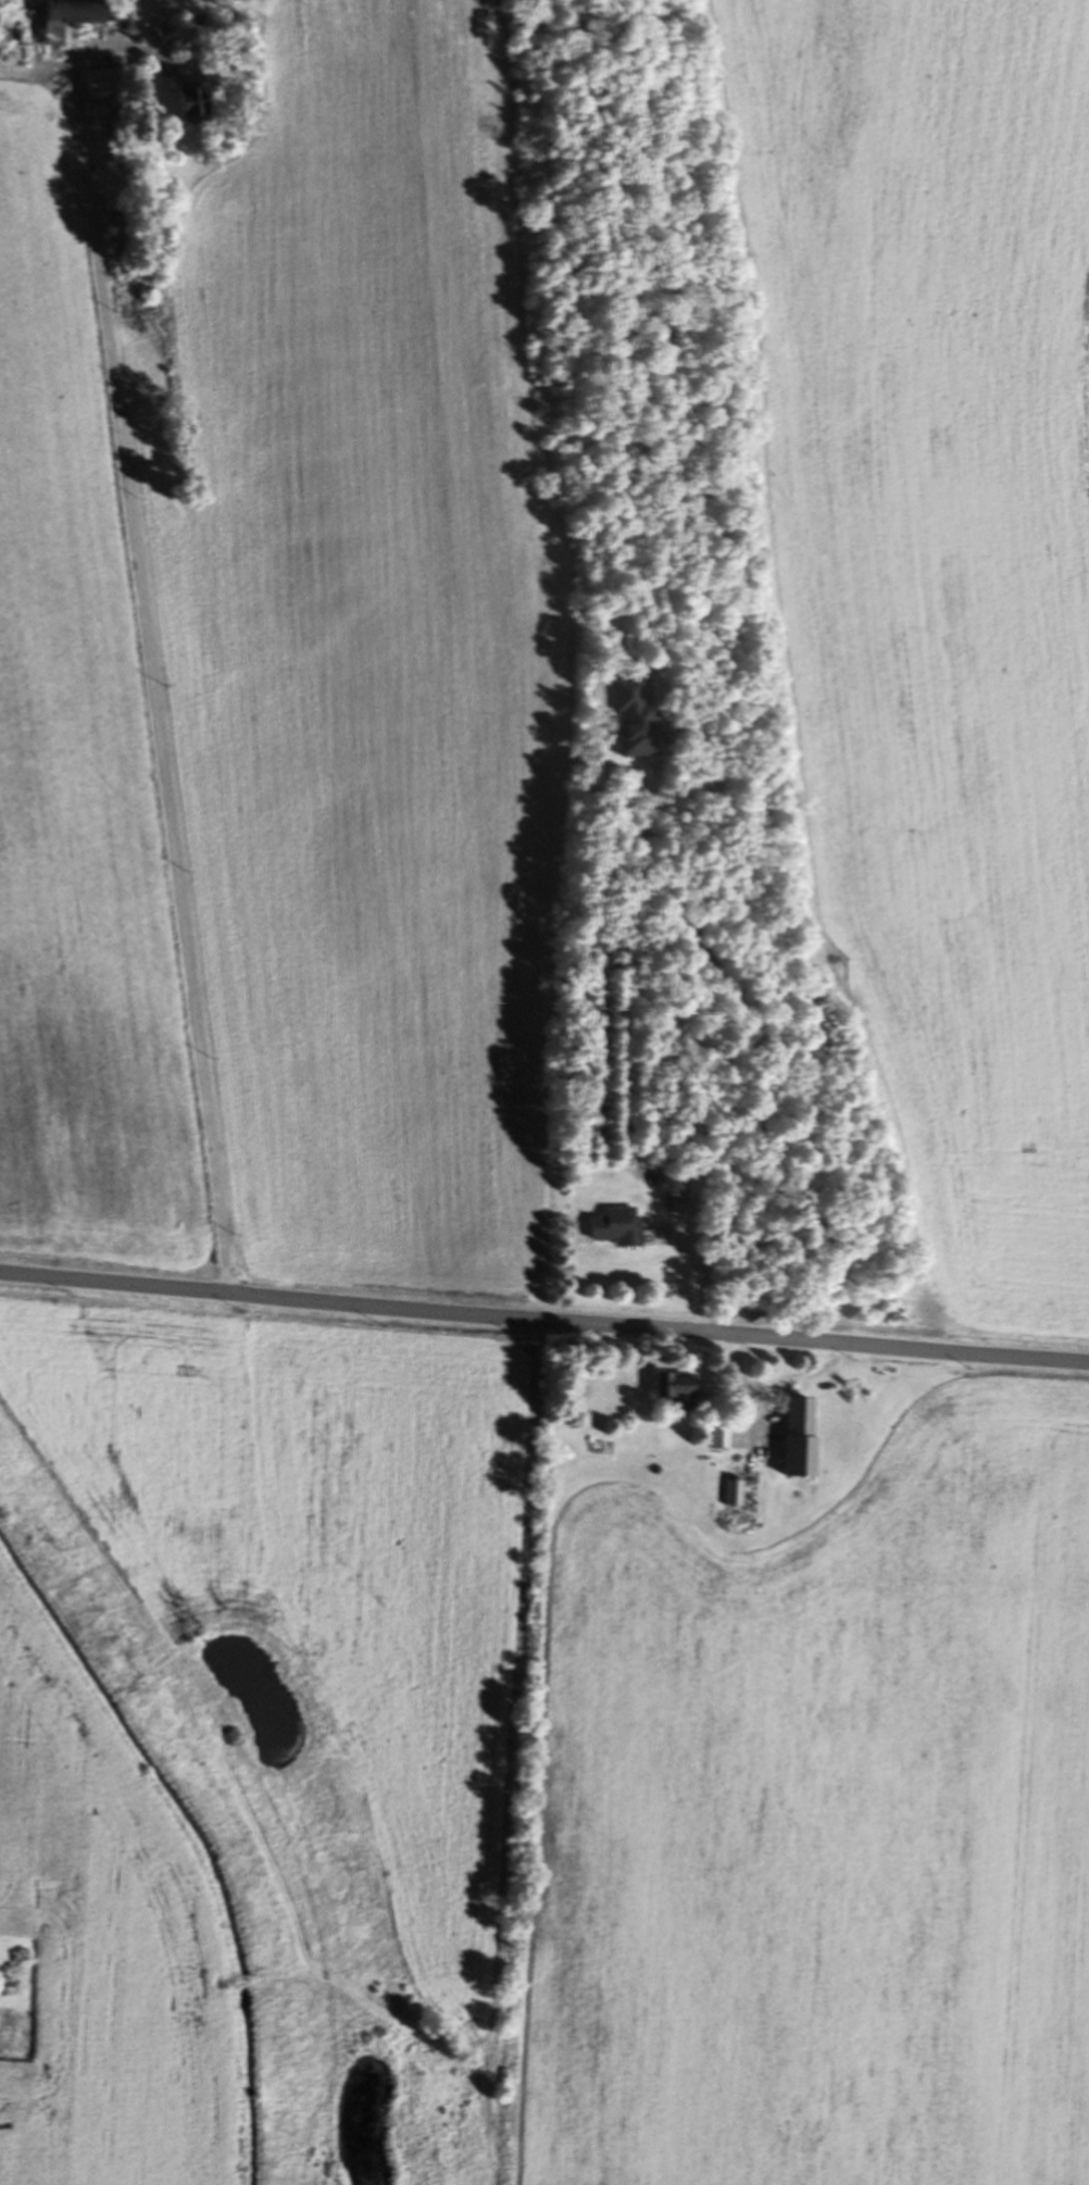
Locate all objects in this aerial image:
building: (71, 20)
building: (102, 84)
building: (192, 103)
road: (143, 683)
building: (639, 726)
building: (617, 1228)
road: (696, 1281)
road: (543, 1319)
building: (678, 1391)
building: (801, 1439)
building: (746, 1493)

